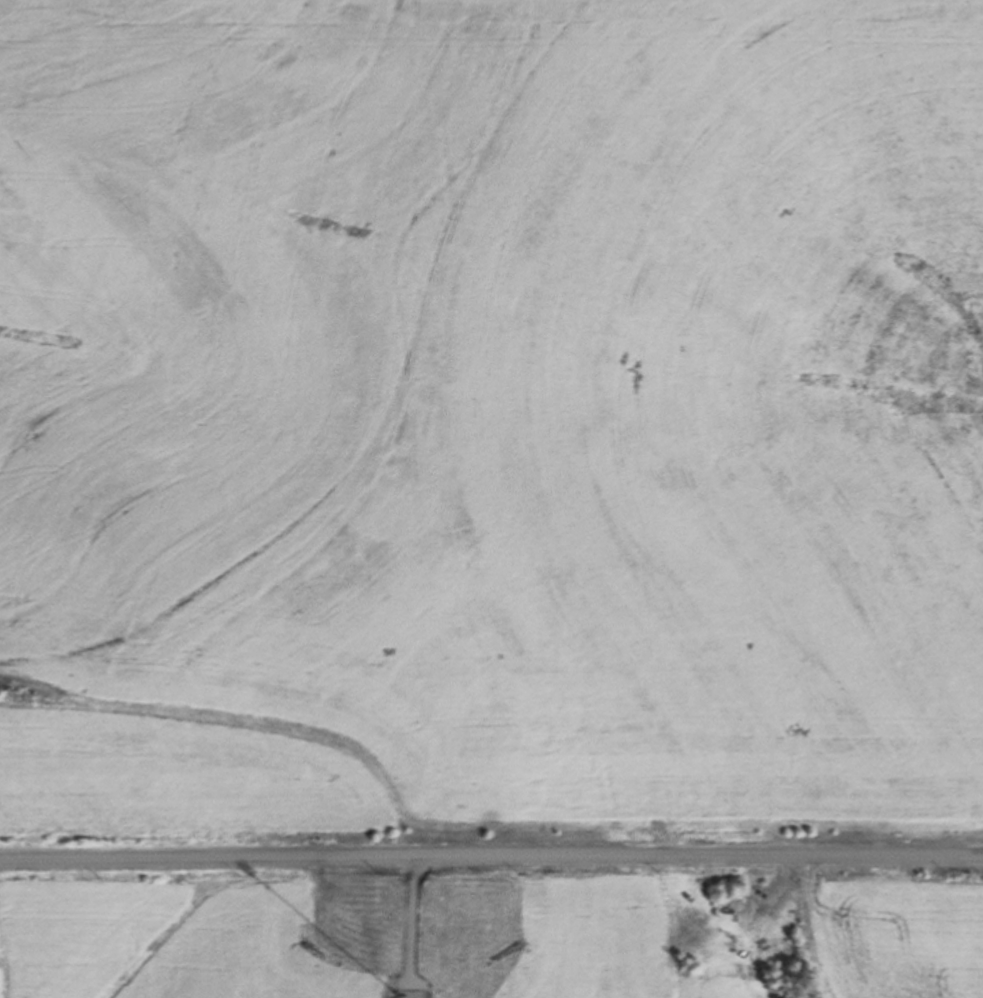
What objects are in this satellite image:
road: (491, 856)

